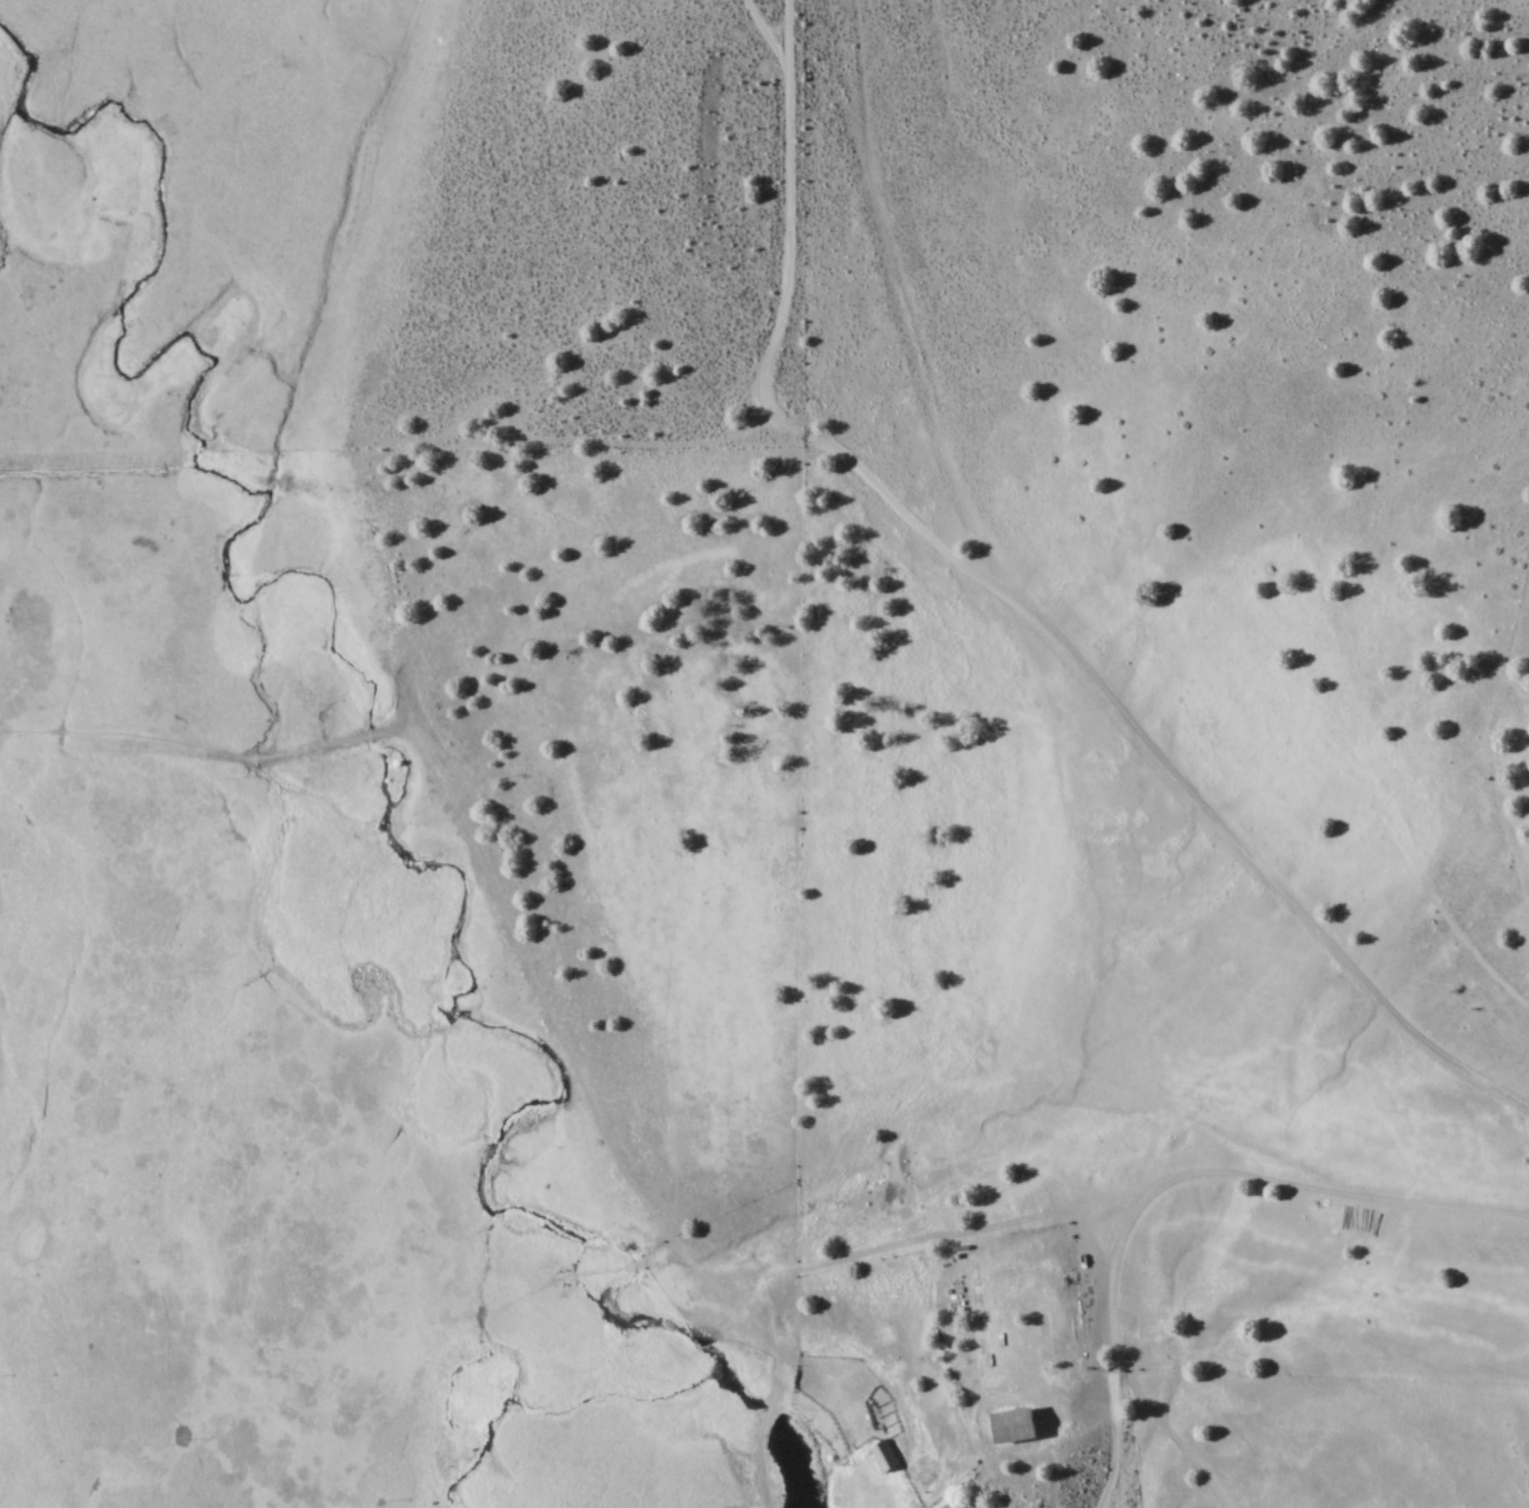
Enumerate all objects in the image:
road: (1010, 601)
road: (1179, 1184)
building: (981, 1319)
building: (1045, 1343)
building: (1017, 1425)
building: (885, 1455)

